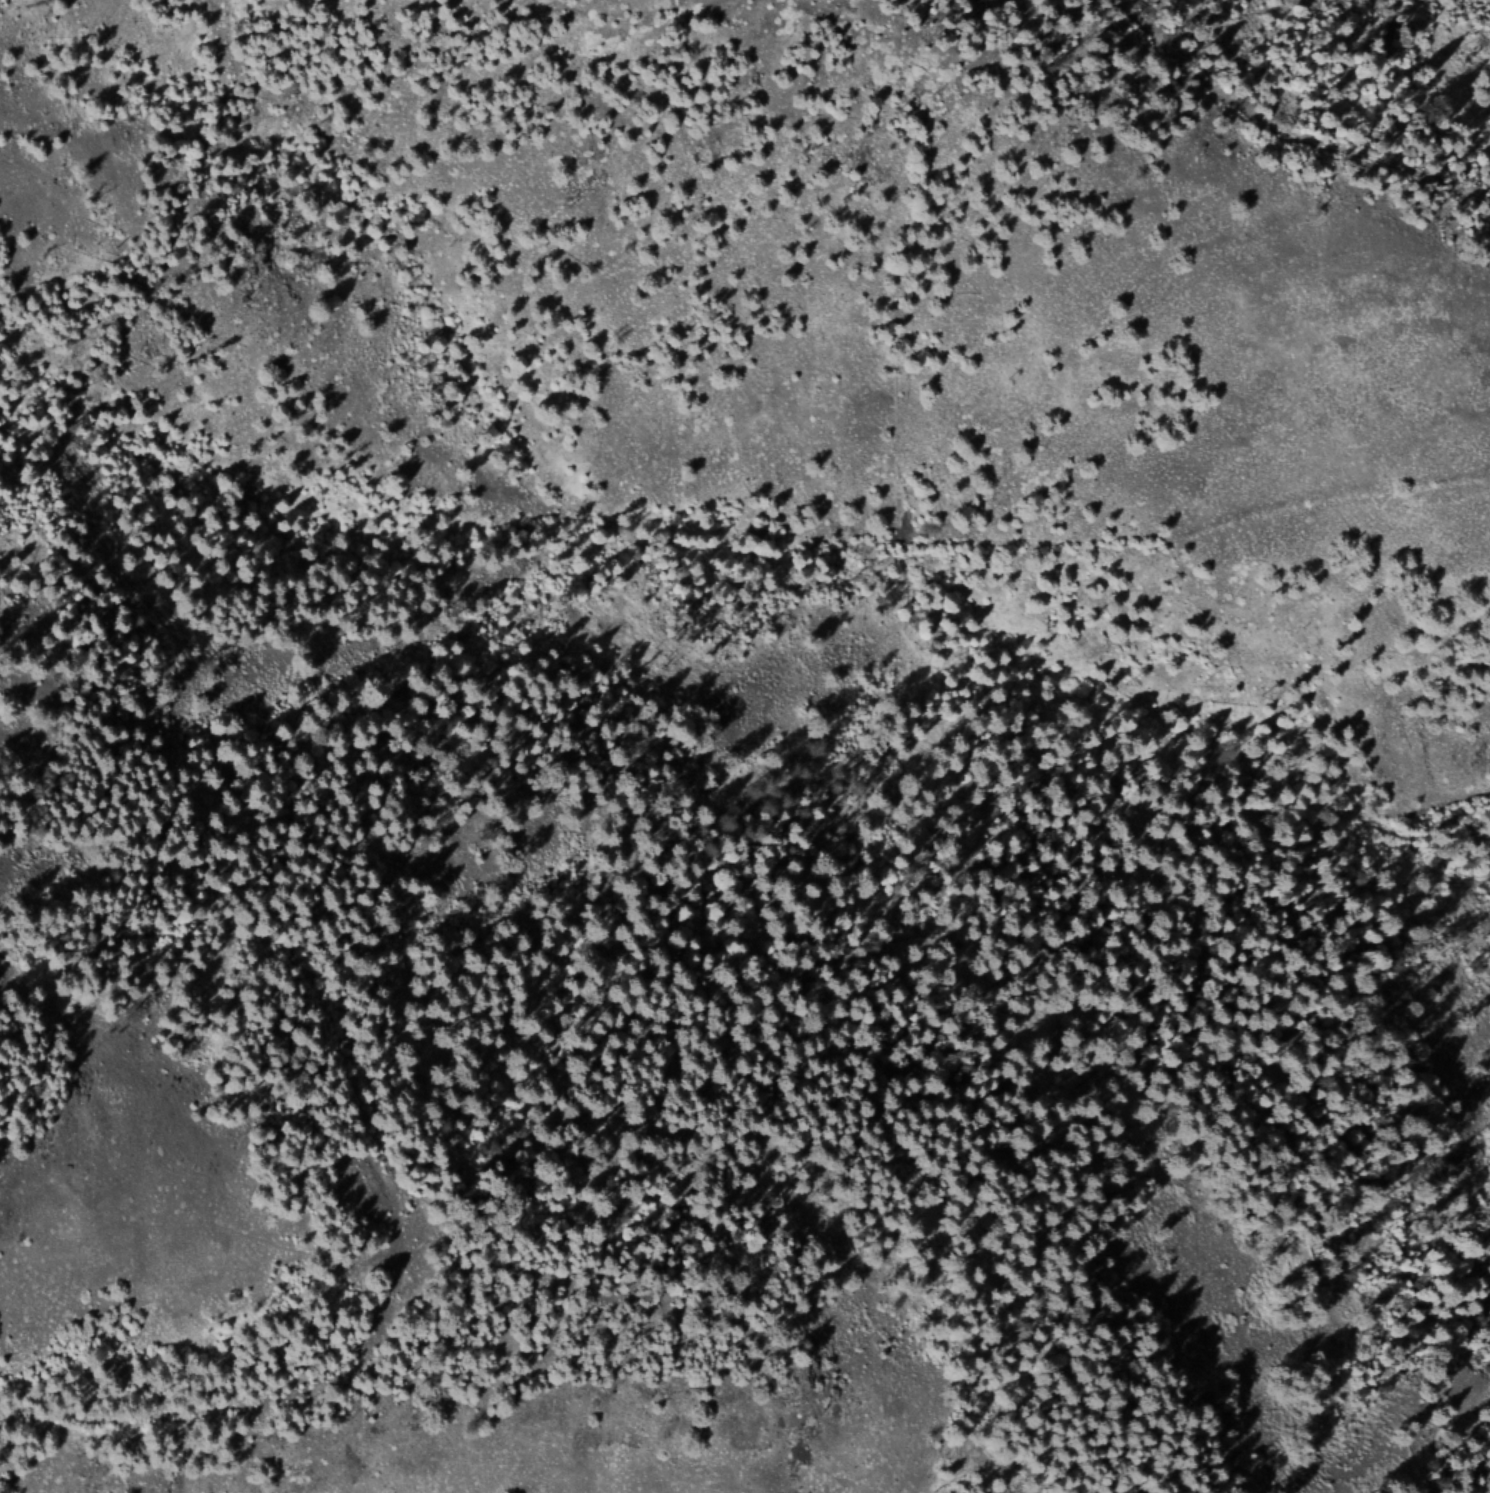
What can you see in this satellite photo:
road: (249, 1431)

